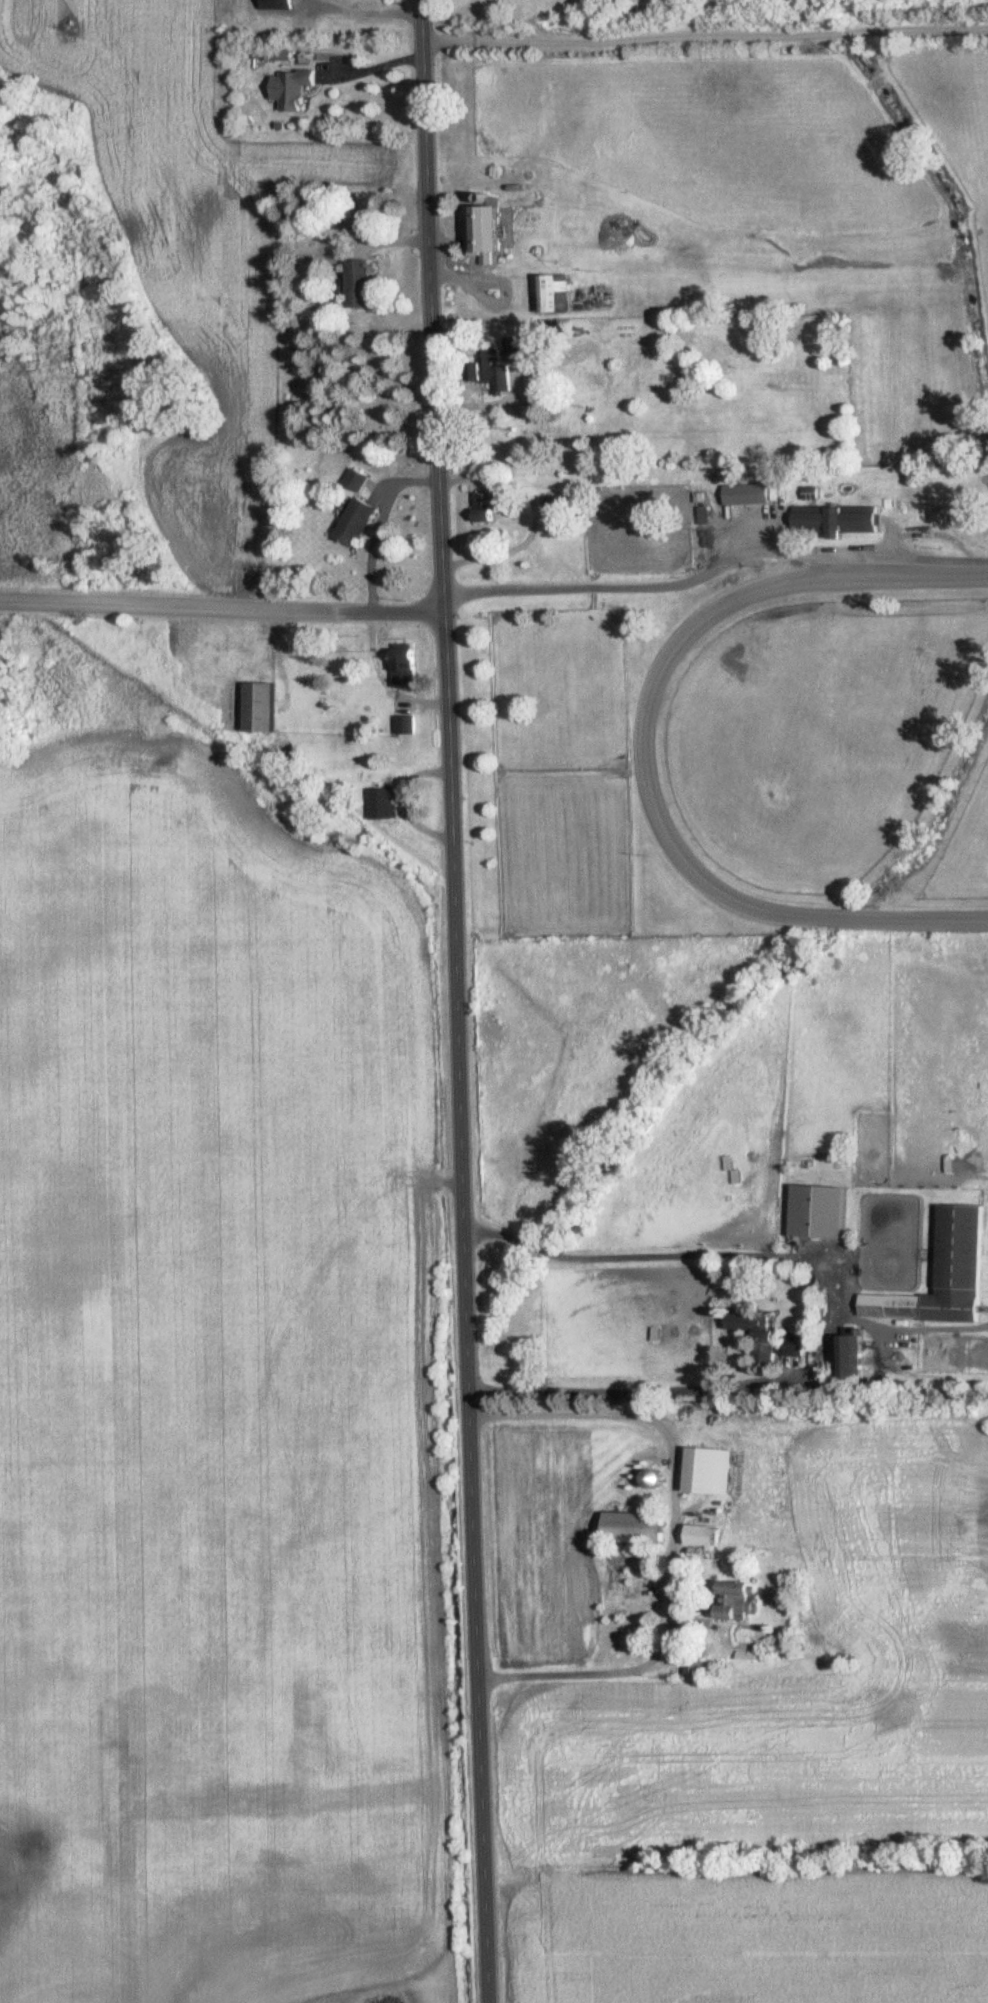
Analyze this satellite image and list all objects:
building: (276, 4)
road: (369, 8)
road: (708, 36)
road: (377, 65)
building: (294, 88)
building: (480, 232)
building: (357, 284)
building: (551, 294)
building: (488, 372)
building: (356, 480)
building: (745, 494)
building: (554, 505)
building: (484, 507)
building: (703, 514)
road: (537, 515)
building: (834, 520)
building: (355, 522)
road: (380, 524)
road: (963, 557)
road: (692, 578)
road: (221, 605)
building: (231, 652)
building: (403, 664)
road: (382, 676)
building: (256, 705)
track: (833, 747)
building: (381, 803)
road: (453, 1001)
building: (814, 1211)
building: (941, 1274)
road: (830, 1313)
building: (764, 1337)
building: (846, 1356)
building: (706, 1471)
building: (648, 1478)
building: (629, 1528)
building: (697, 1535)
road: (676, 1539)
building: (731, 1601)
building: (693, 1667)

